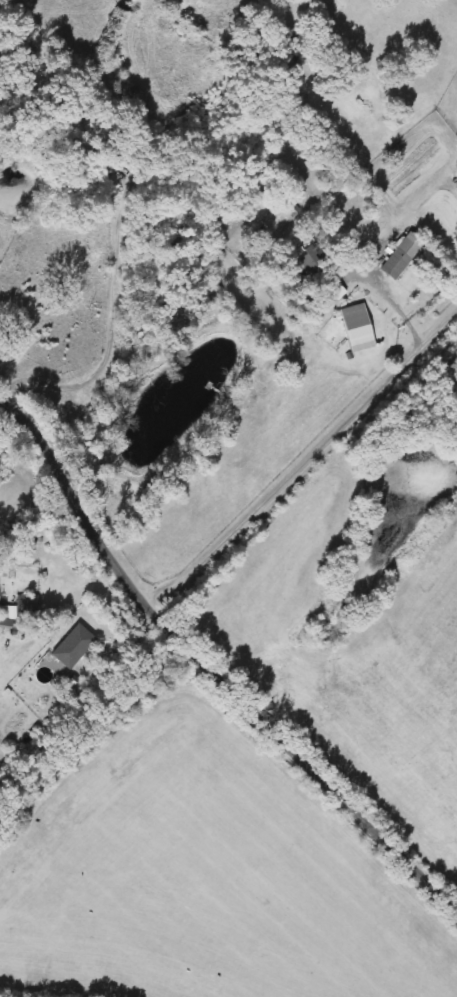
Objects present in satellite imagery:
building: (158, 108)
building: (398, 257)
building: (305, 259)
road: (403, 314)
building: (356, 326)
road: (305, 459)
road: (64, 552)
building: (27, 606)
building: (78, 640)
road: (211, 667)

